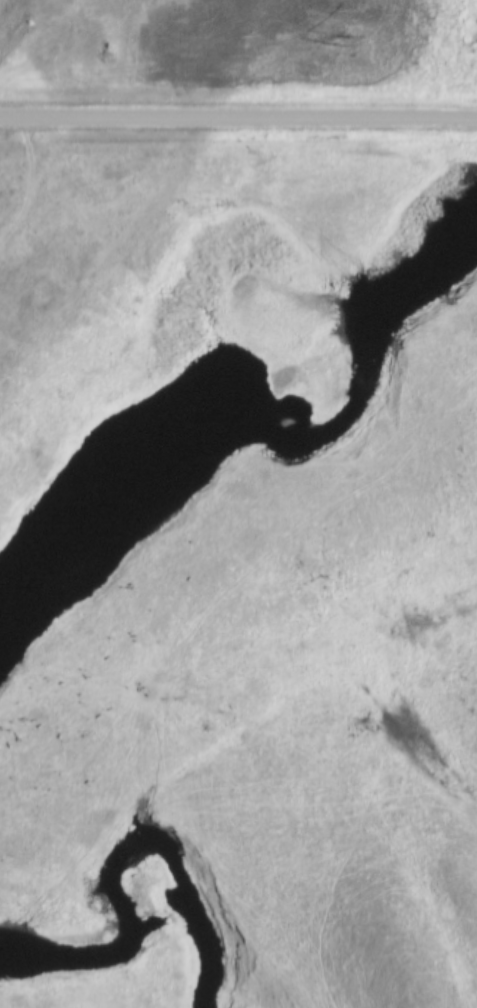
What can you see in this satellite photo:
quarry: (72, 29)
road: (238, 120)
river: (259, 421)
river: (112, 856)

